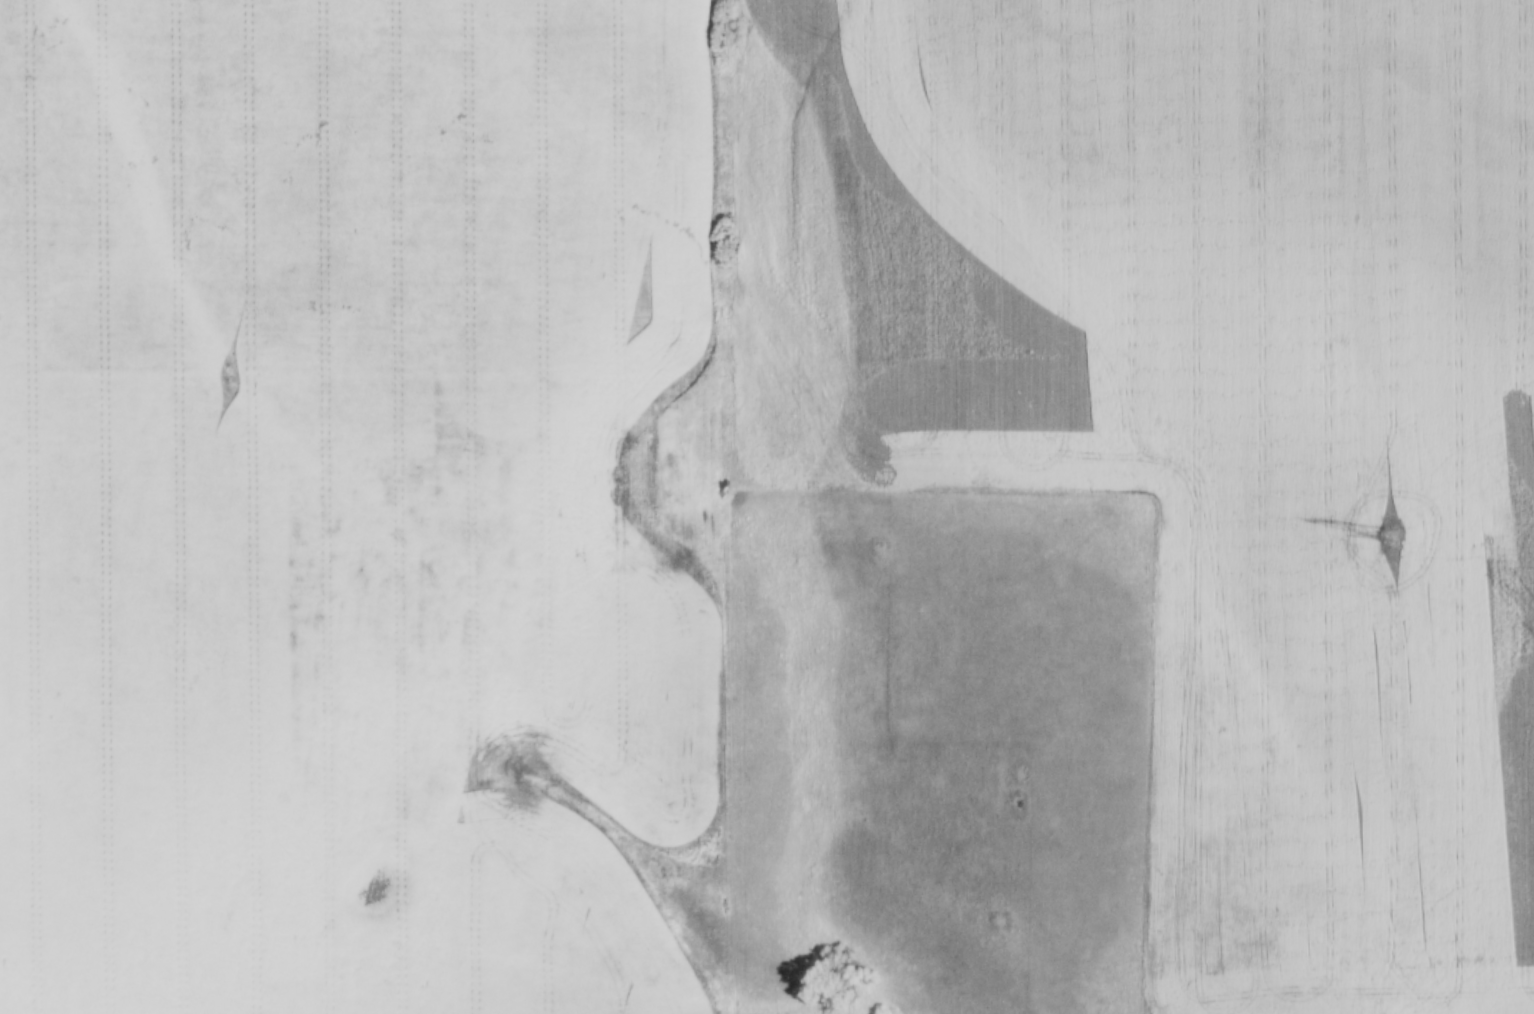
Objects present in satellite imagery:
crop: (1216, 417)
power tower: (1387, 535)

